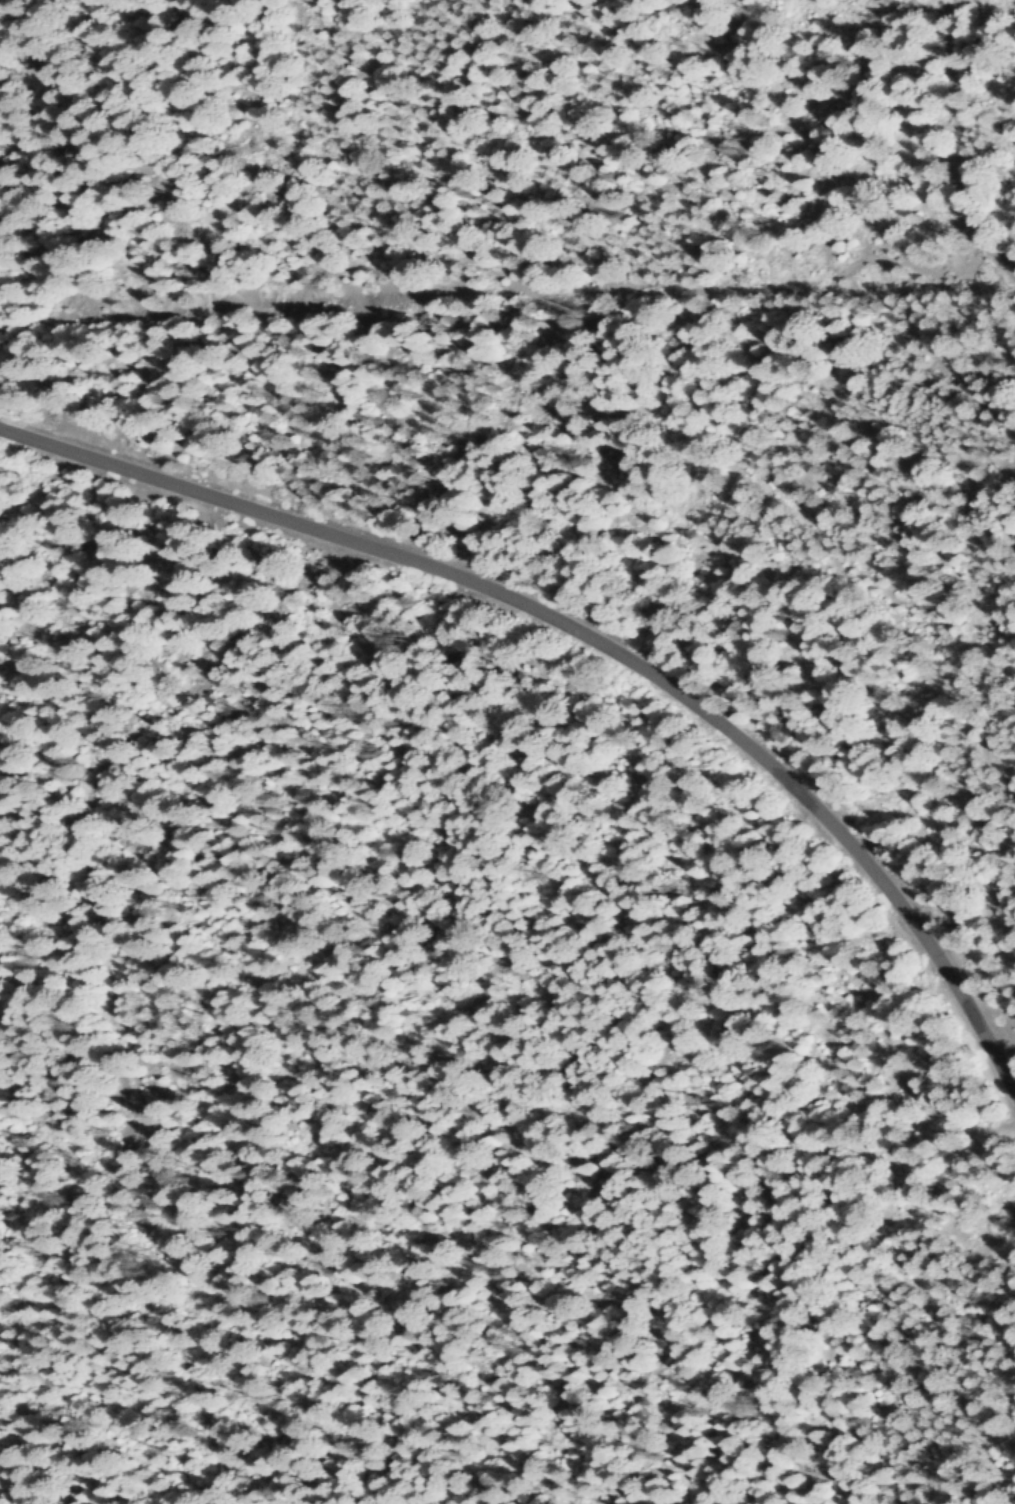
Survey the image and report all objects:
road: (959, 140)
road: (507, 297)
road: (594, 637)
road: (95, 885)

